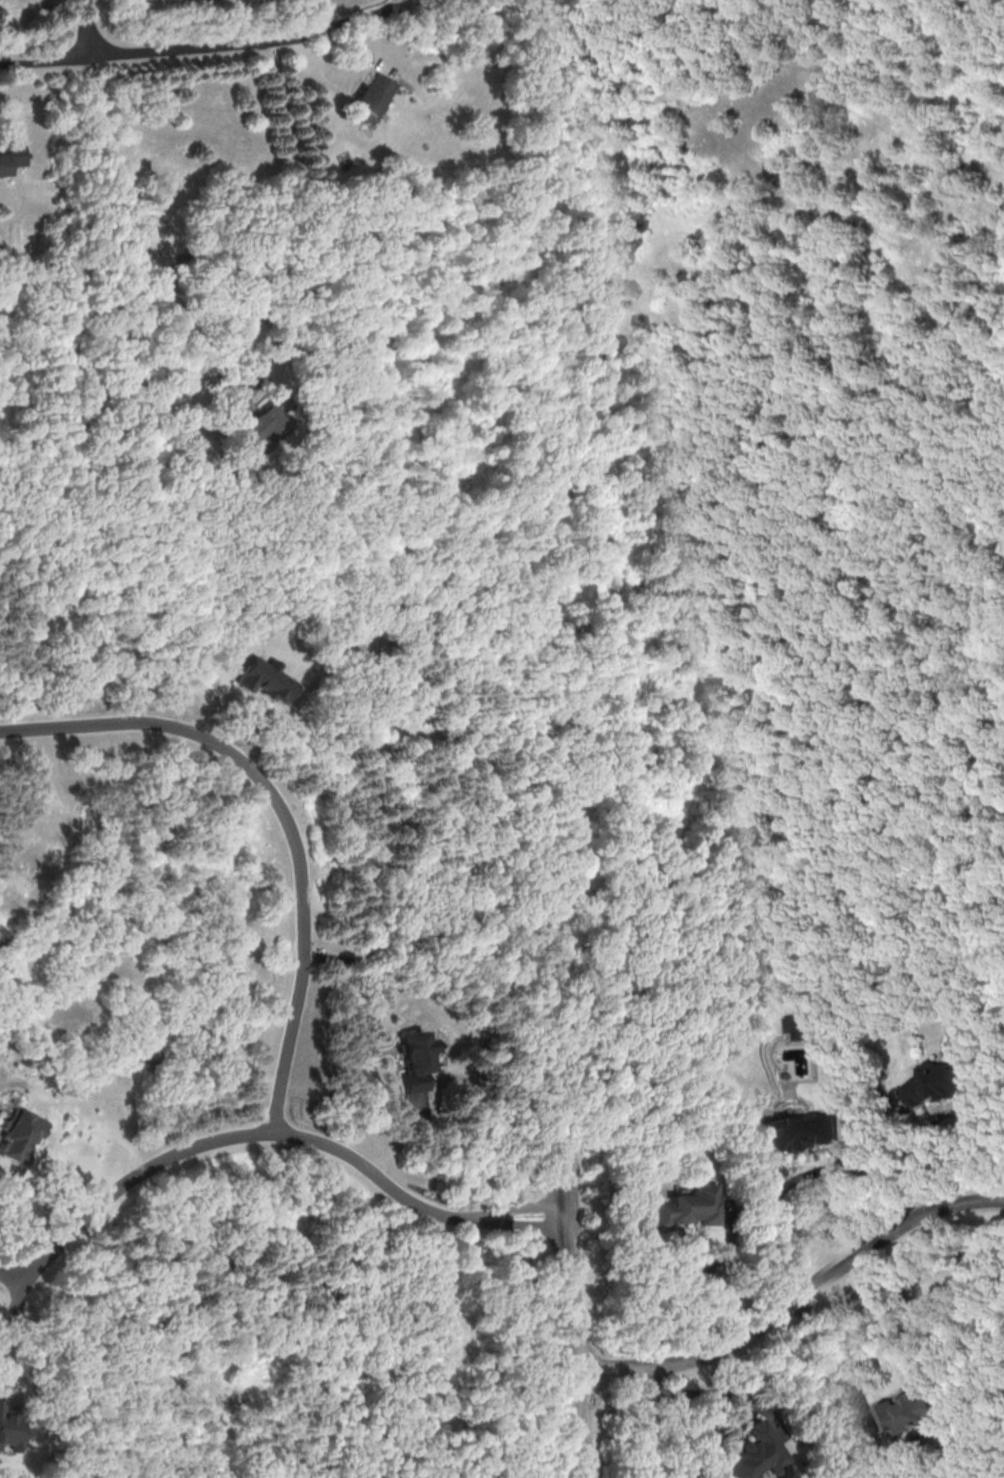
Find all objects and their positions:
road: (389, 10)
road: (91, 27)
road: (190, 48)
building: (369, 98)
building: (11, 158)
road: (307, 219)
building: (267, 423)
building: (265, 679)
road: (284, 815)
road: (378, 1002)
building: (797, 1025)
building: (416, 1060)
building: (935, 1081)
road: (968, 1122)
building: (799, 1131)
building: (18, 1135)
road: (219, 1138)
road: (914, 1155)
road: (792, 1182)
road: (523, 1196)
building: (690, 1207)
road: (524, 1212)
road: (726, 1274)
road: (794, 1301)
road: (579, 1315)
road: (829, 1345)
building: (905, 1412)
building: (10, 1429)
building: (751, 1452)

